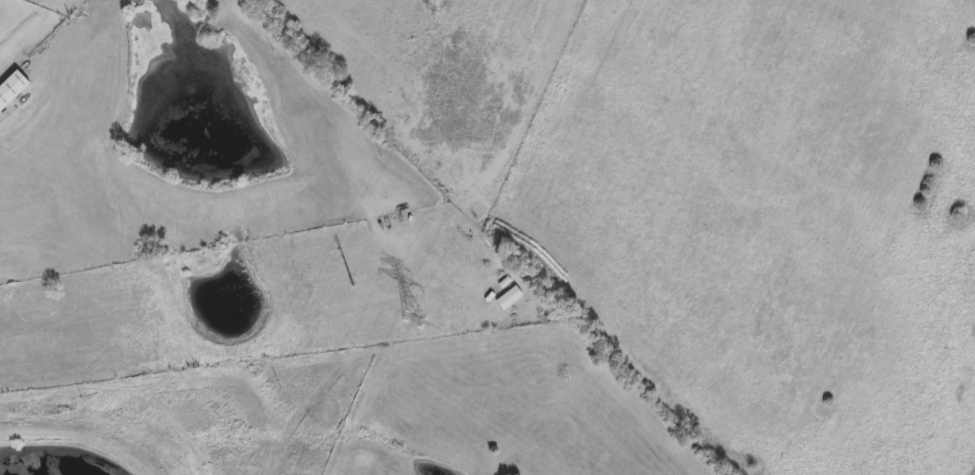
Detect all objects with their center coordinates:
building: (12, 89)
power tower: (350, 293)
building: (510, 299)
power tower: (414, 317)

